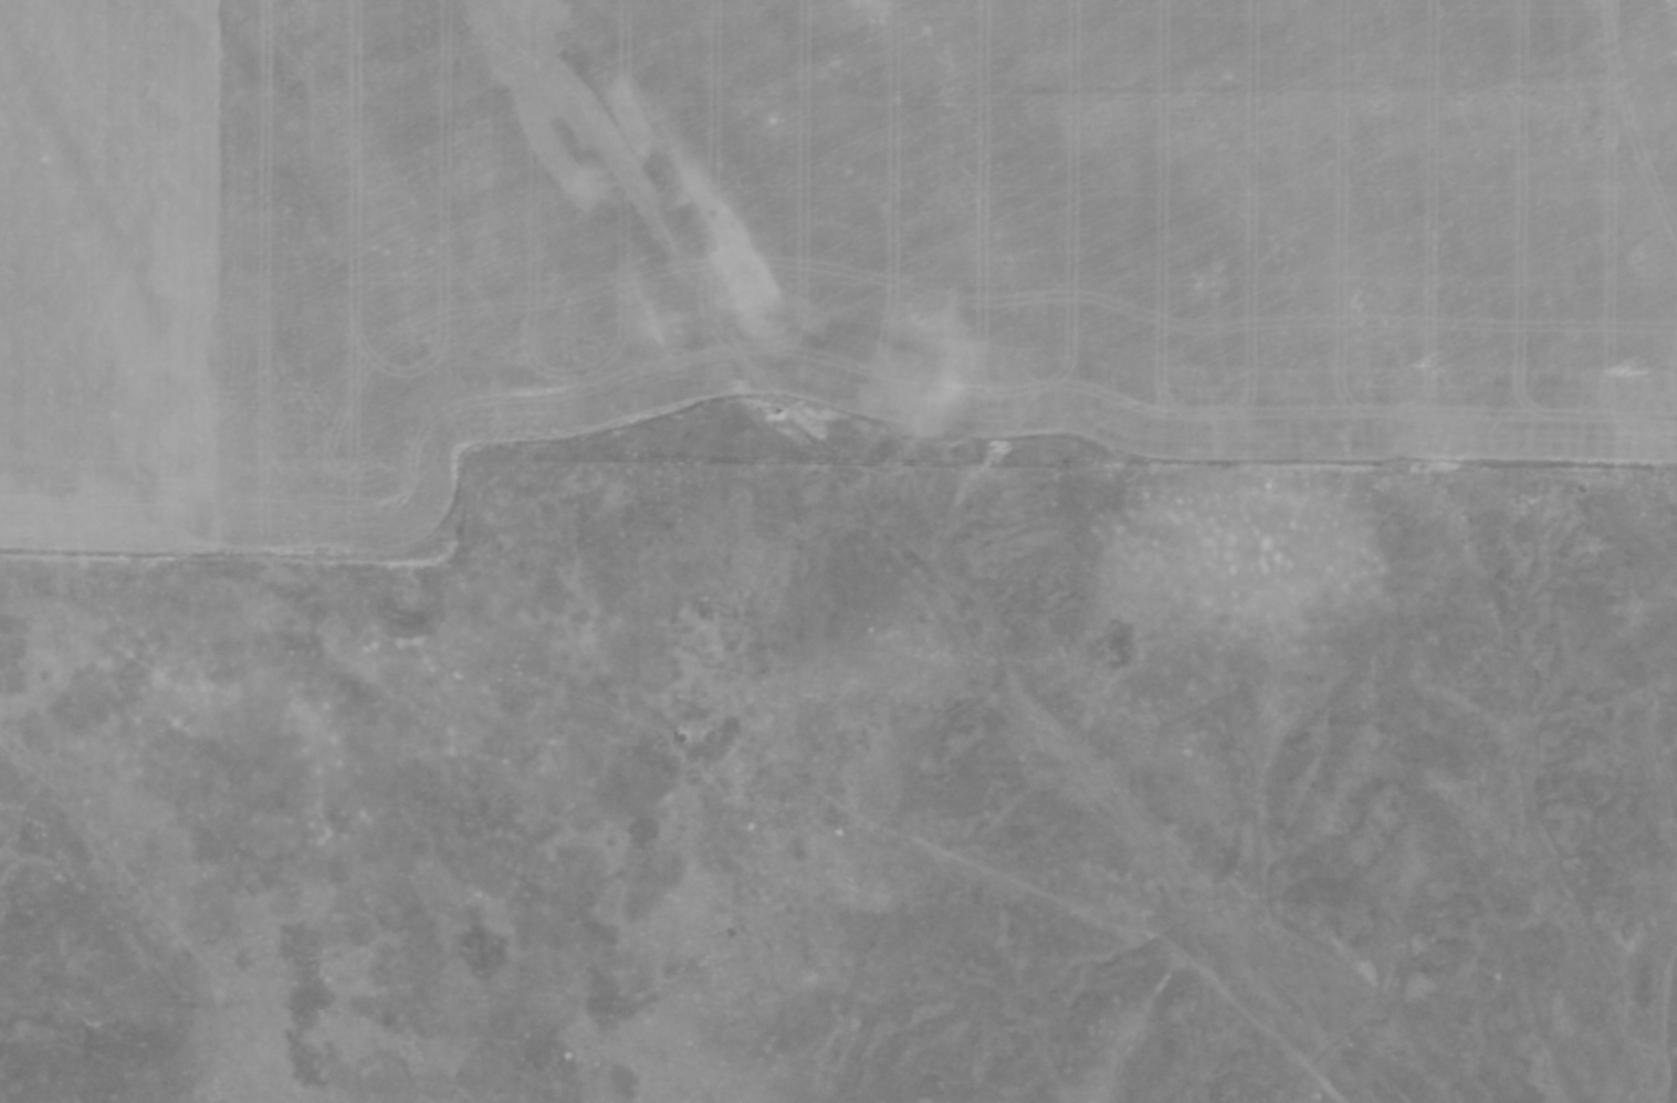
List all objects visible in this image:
crop: (808, 241)

